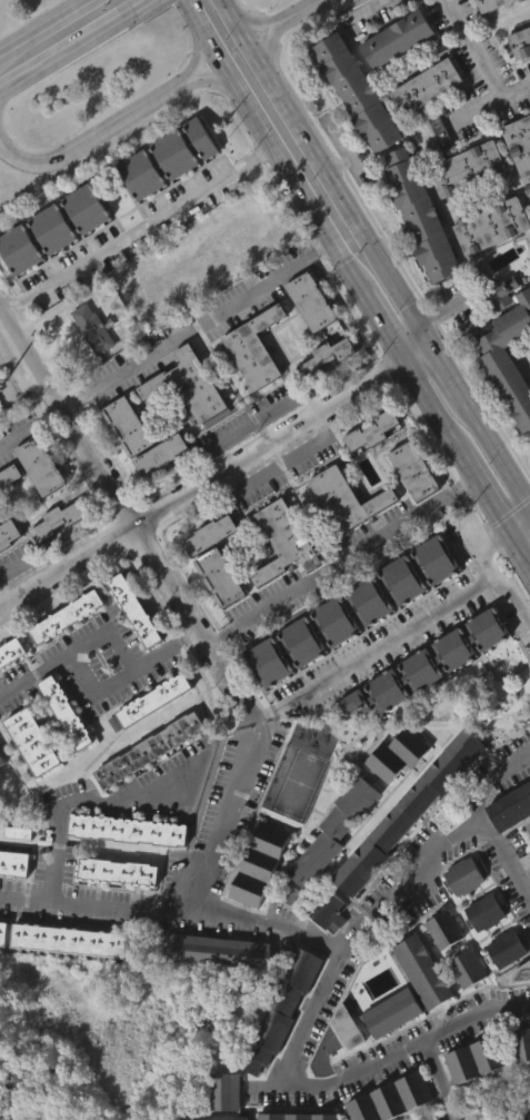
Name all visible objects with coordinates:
building: (493, 3)
road: (142, 6)
road: (296, 13)
building: (500, 22)
road: (250, 26)
road: (43, 27)
building: (399, 38)
building: (521, 41)
road: (197, 52)
road: (67, 53)
road: (267, 53)
road: (480, 56)
building: (392, 72)
building: (518, 75)
road: (210, 77)
building: (427, 85)
building: (357, 92)
road: (1, 96)
road: (482, 106)
building: (420, 120)
building: (352, 127)
road: (96, 132)
building: (442, 132)
building: (201, 138)
building: (521, 143)
road: (273, 146)
building: (174, 155)
building: (436, 165)
building: (470, 168)
road: (323, 172)
building: (140, 174)
building: (179, 182)
building: (519, 184)
building: (462, 204)
building: (87, 207)
building: (136, 209)
building: (419, 215)
building: (493, 226)
building: (52, 229)
road: (140, 230)
building: (81, 242)
building: (20, 249)
building: (416, 249)
building: (487, 259)
building: (48, 264)
building: (231, 276)
building: (16, 284)
building: (312, 301)
building: (137, 308)
road: (383, 325)
road: (199, 326)
building: (94, 329)
building: (307, 336)
building: (507, 345)
building: (256, 349)
building: (333, 351)
road: (418, 351)
building: (87, 363)
road: (447, 369)
building: (250, 383)
building: (190, 385)
building: (322, 390)
building: (503, 391)
road: (432, 406)
building: (183, 418)
road: (32, 427)
building: (372, 428)
building: (142, 439)
road: (496, 448)
building: (122, 460)
road: (284, 463)
building: (368, 465)
building: (39, 466)
building: (414, 467)
building: (9, 474)
road: (112, 483)
road: (203, 487)
building: (156, 488)
road: (484, 492)
building: (347, 496)
building: (36, 499)
building: (409, 505)
building: (8, 508)
building: (58, 519)
road: (519, 524)
building: (8, 532)
building: (210, 533)
building: (342, 533)
building: (284, 538)
road: (519, 549)
building: (52, 555)
road: (341, 559)
building: (7, 566)
road: (497, 572)
building: (220, 575)
building: (279, 575)
building: (430, 593)
building: (352, 607)
building: (136, 611)
building: (214, 611)
building: (397, 614)
building: (68, 616)
road: (406, 632)
building: (363, 635)
road: (191, 637)
building: (130, 644)
building: (62, 650)
building: (11, 652)
building: (429, 662)
building: (313, 665)
road: (91, 673)
building: (10, 686)
road: (240, 692)
building: (263, 696)
building: (154, 697)
road: (293, 698)
building: (422, 700)
building: (67, 711)
road: (264, 711)
building: (149, 734)
building: (34, 743)
building: (61, 746)
building: (149, 749)
building: (393, 753)
building: (3, 759)
building: (144, 783)
building: (391, 789)
road: (91, 802)
building: (510, 804)
building: (403, 811)
building: (528, 823)
building: (128, 826)
building: (330, 831)
building: (22, 833)
building: (402, 845)
building: (14, 862)
building: (527, 863)
building: (256, 864)
road: (503, 864)
building: (328, 865)
building: (118, 870)
building: (464, 874)
road: (200, 883)
building: (12, 896)
building: (253, 899)
road: (58, 900)
building: (113, 905)
building: (459, 910)
building: (326, 911)
building: (486, 911)
building: (444, 926)
building: (3, 931)
building: (69, 936)
building: (323, 944)
building: (480, 946)
building: (221, 948)
building: (507, 948)
road: (338, 955)
building: (439, 963)
building: (467, 964)
building: (1, 965)
building: (63, 973)
building: (501, 982)
building: (214, 984)
building: (410, 987)
building: (462, 1002)
building: (417, 1005)
building: (280, 1008)
road: (478, 1024)
building: (341, 1028)
building: (519, 1044)
building: (274, 1047)
building: (387, 1047)
building: (470, 1059)
building: (342, 1061)
road: (439, 1071)
building: (519, 1077)
building: (226, 1091)
building: (467, 1094)
building: (392, 1096)
road: (452, 1108)
building: (219, 1113)
building: (406, 1114)
building: (298, 1116)
building: (524, 1116)
building: (216, 1117)

